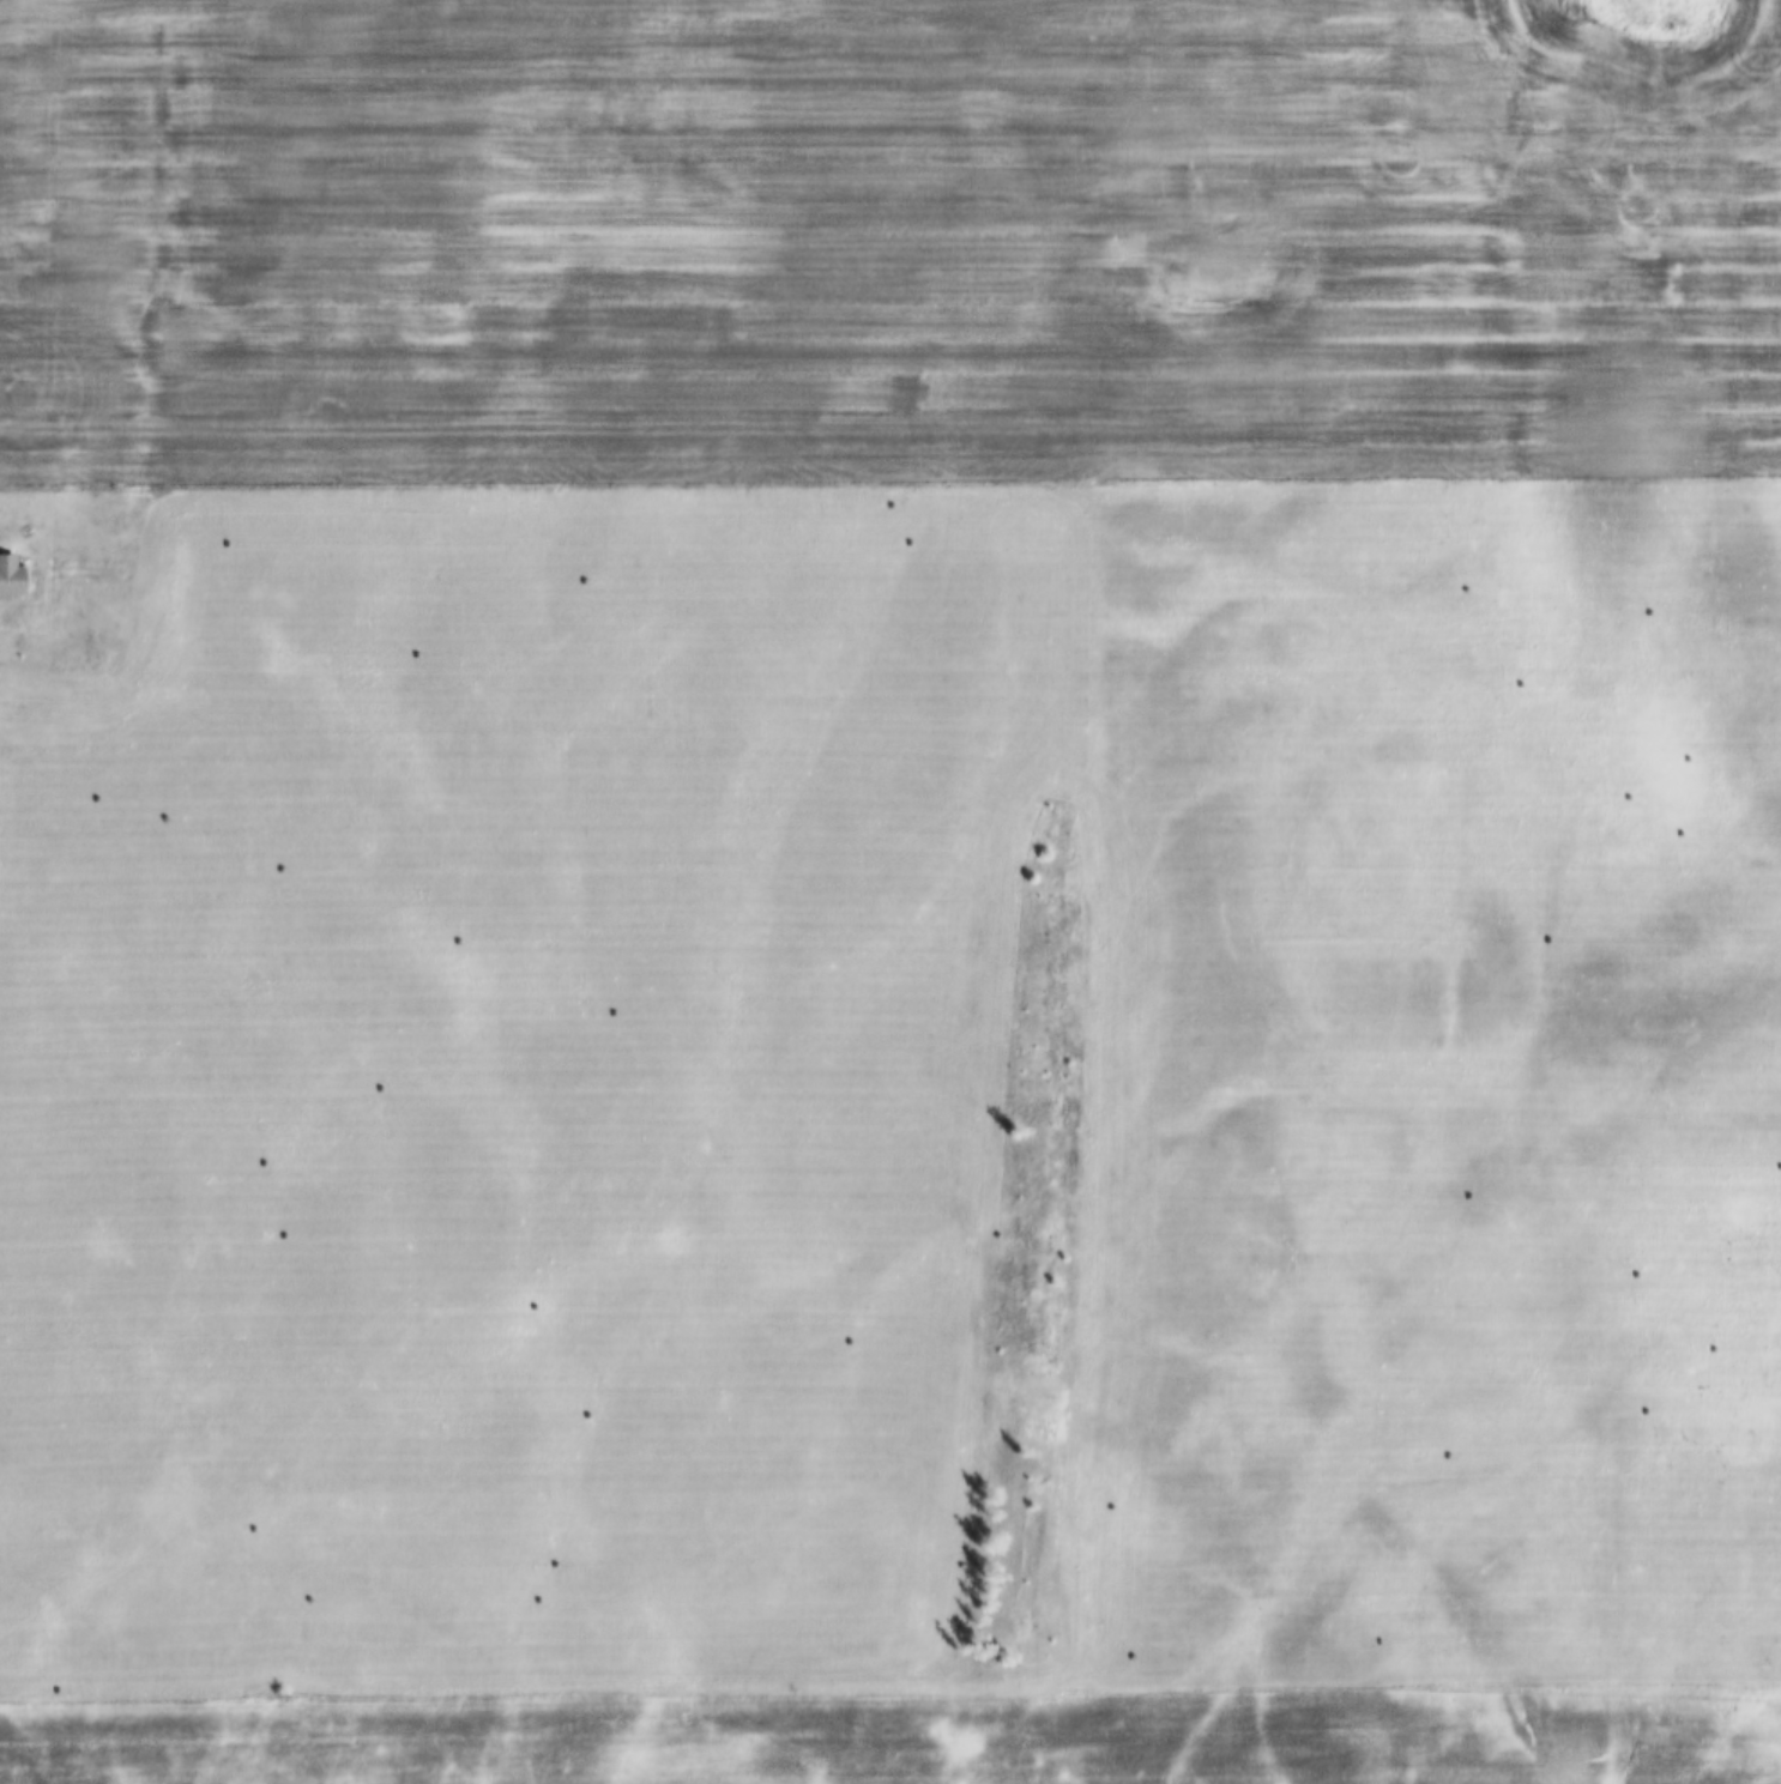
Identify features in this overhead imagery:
building: (10, 576)

